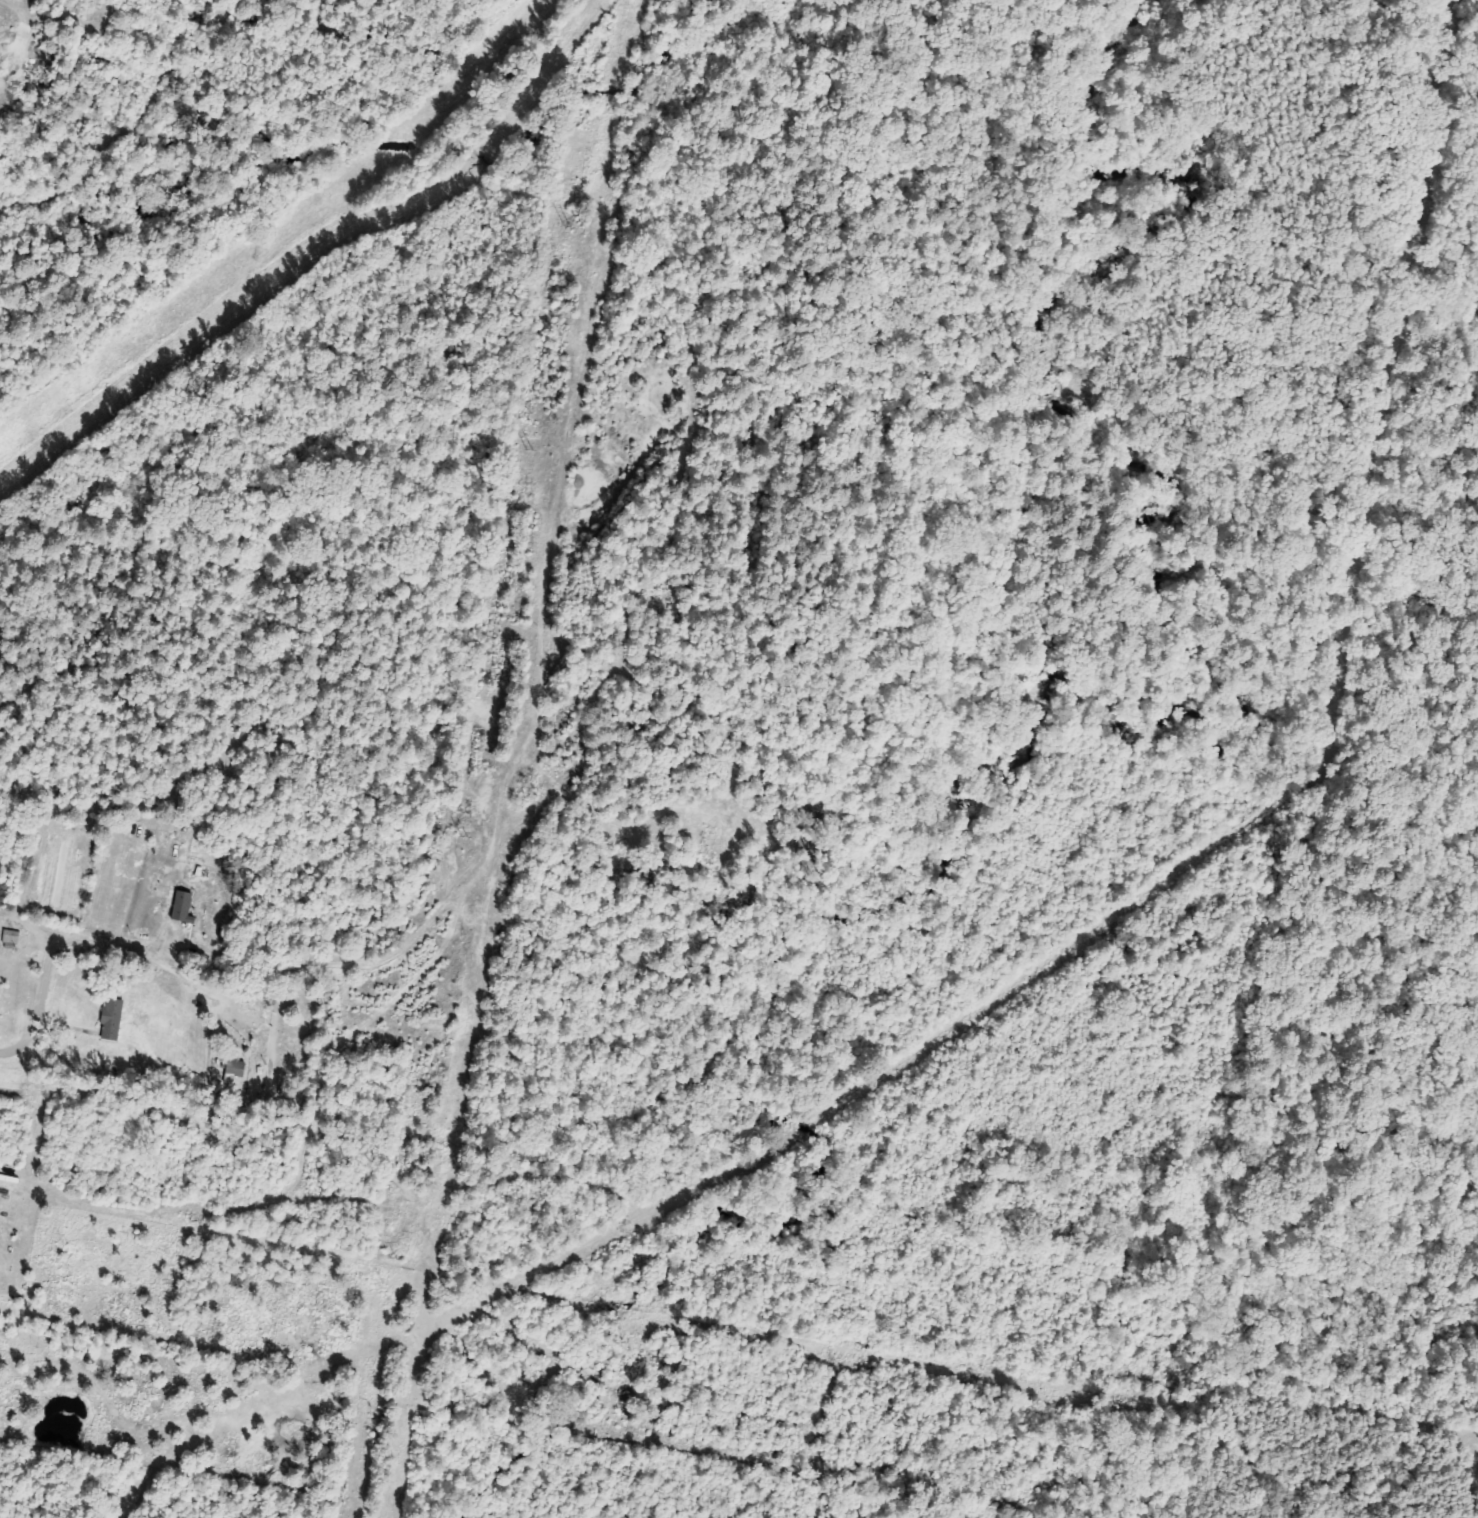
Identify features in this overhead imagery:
road: (495, 810)
building: (185, 908)
road: (100, 938)
building: (114, 1020)

